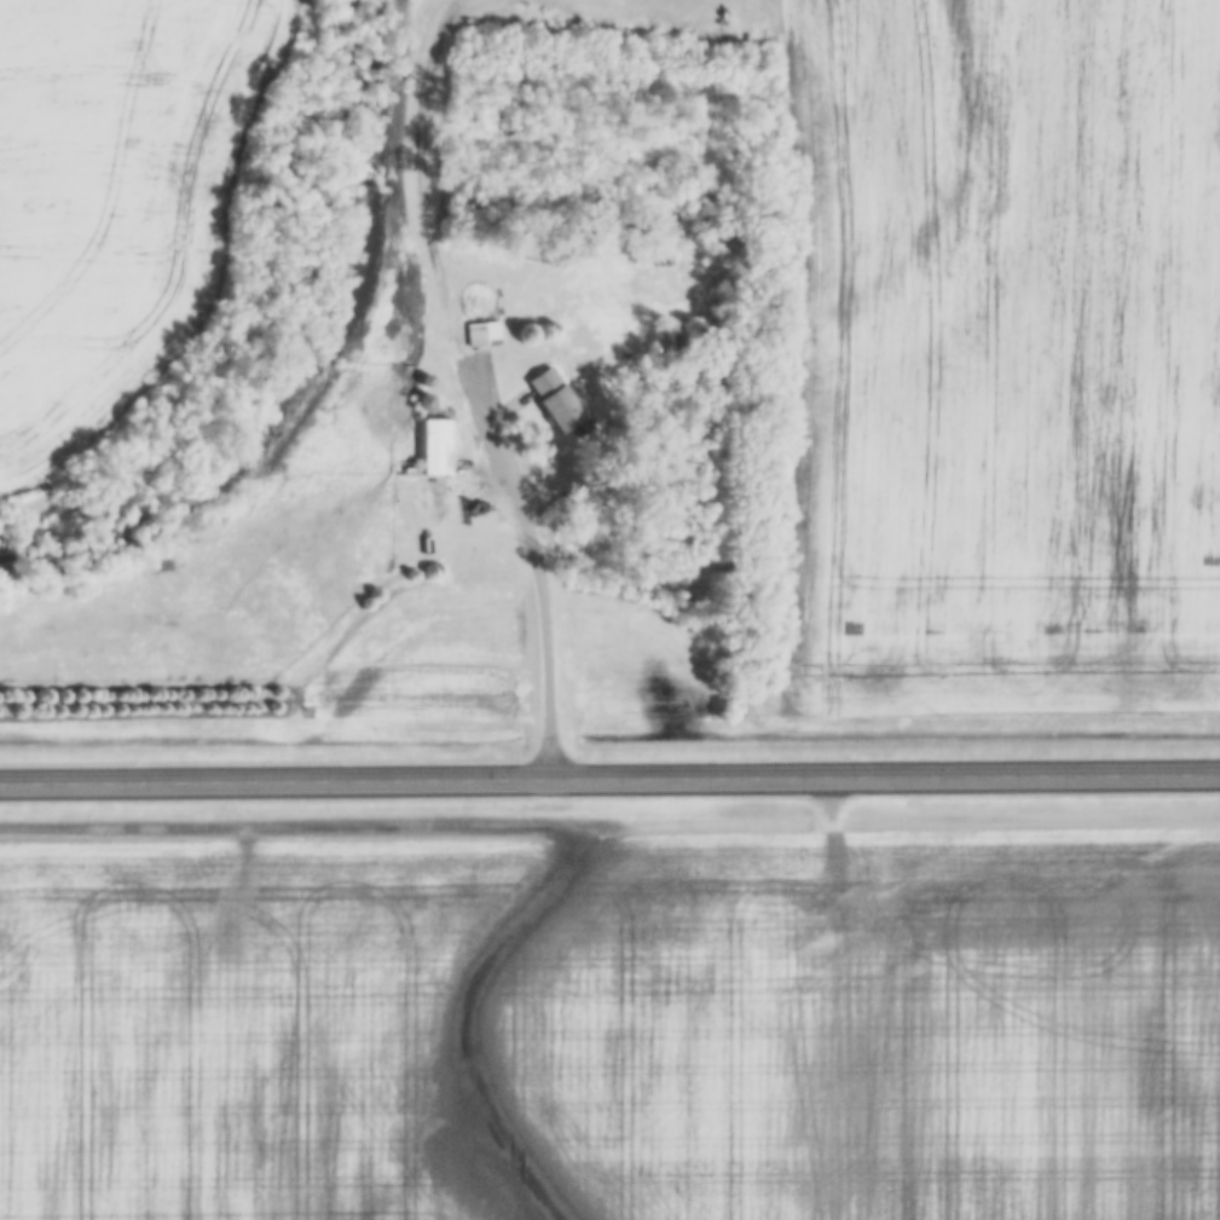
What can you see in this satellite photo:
road: (415, 184)
crop: (111, 203)
building: (485, 333)
crop: (1000, 357)
building: (559, 397)
building: (424, 400)
silo: (424, 400)
building: (430, 447)
road: (533, 566)
road: (609, 776)
crop: (613, 1028)

